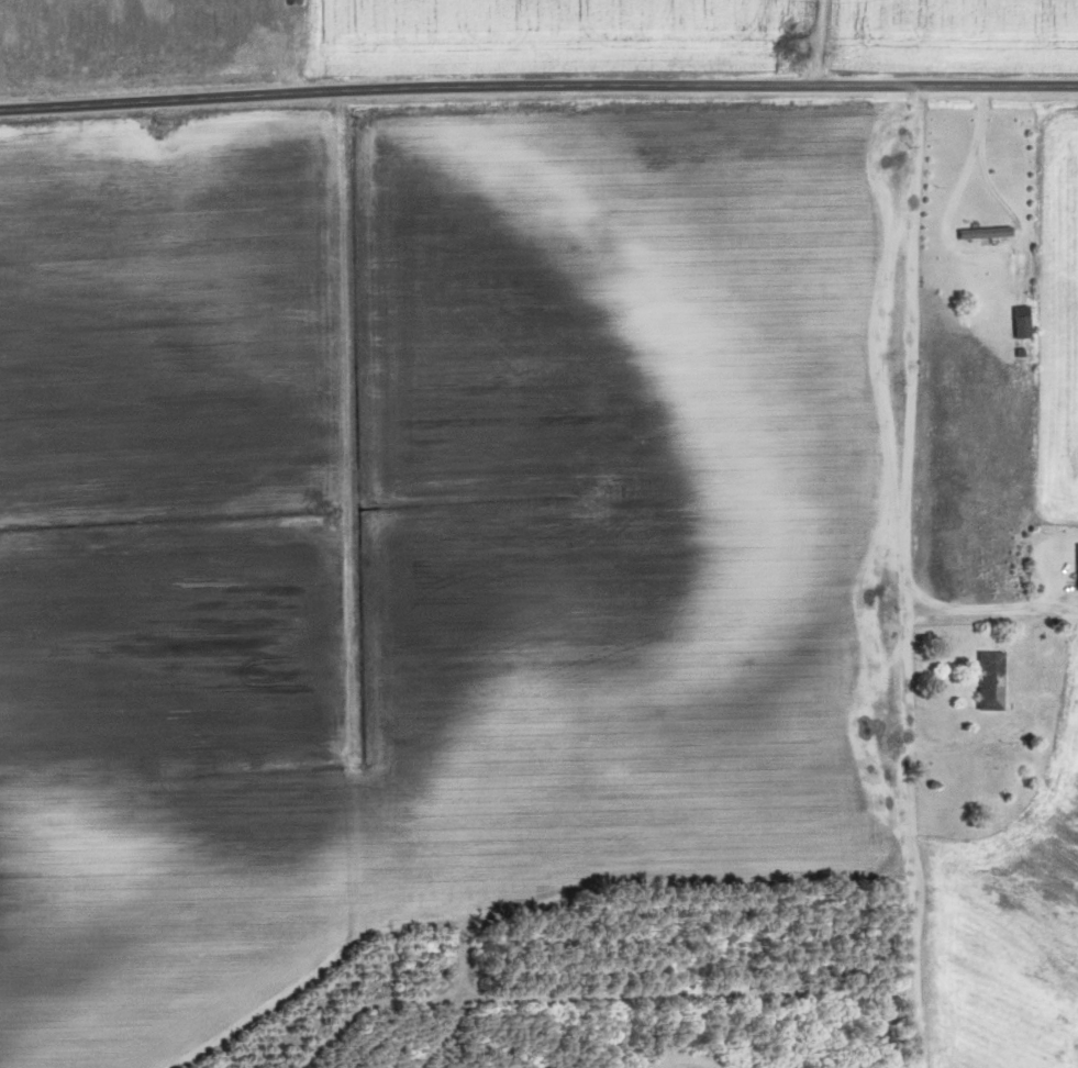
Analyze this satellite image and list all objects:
road: (812, 43)
road: (538, 89)
building: (981, 234)
building: (1015, 324)
road: (343, 433)
building: (1075, 569)
road: (898, 577)
building: (985, 682)

